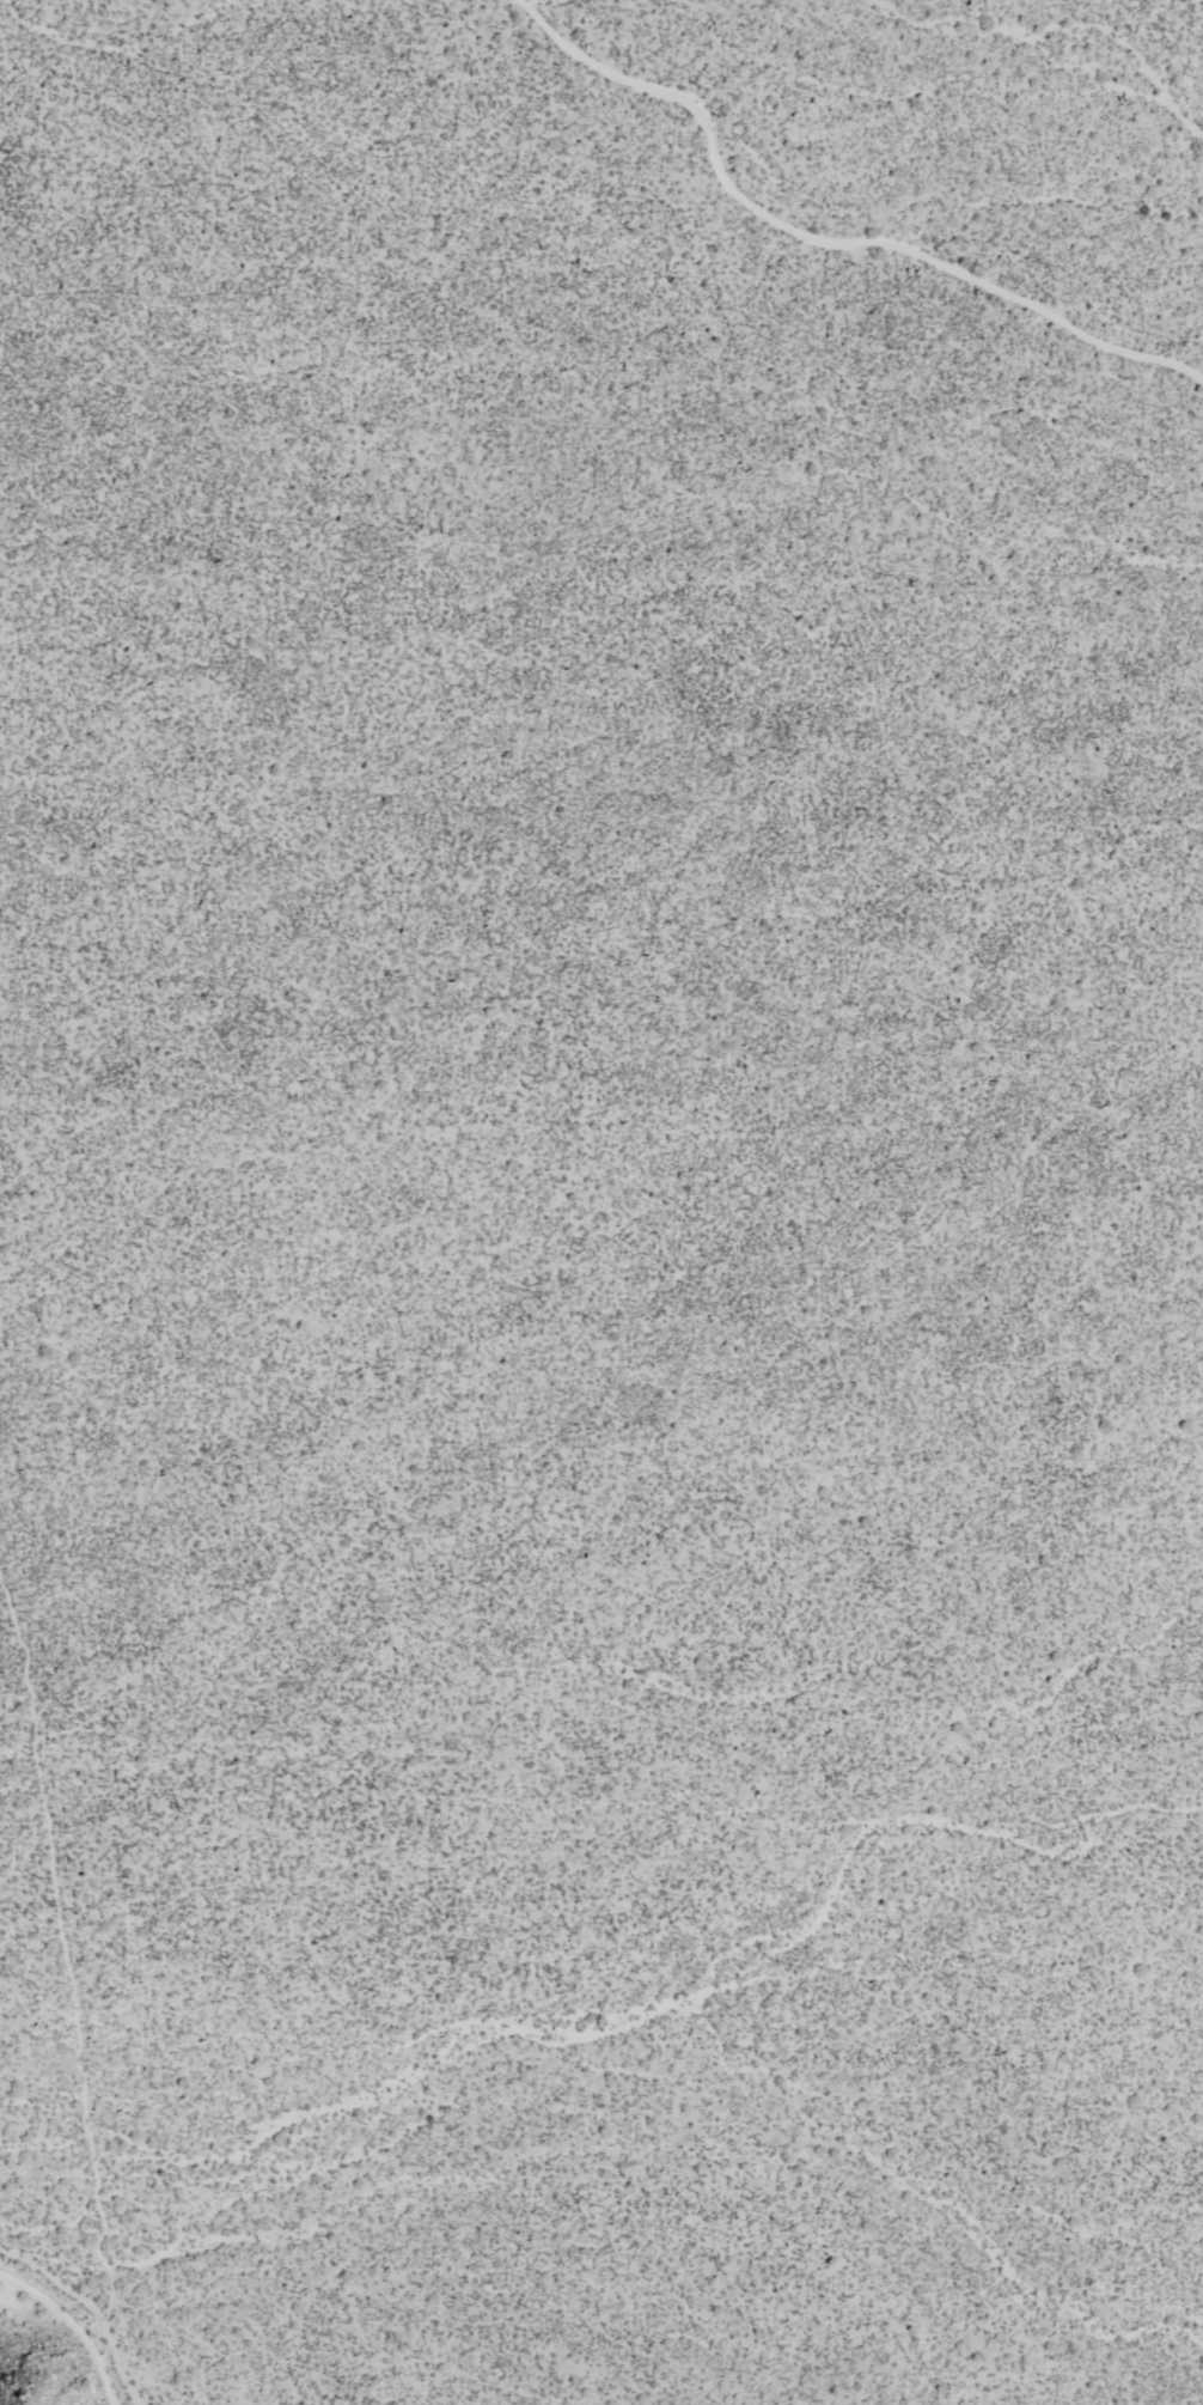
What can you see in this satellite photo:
road: (824, 240)
road: (71, 1992)
road: (73, 2324)

